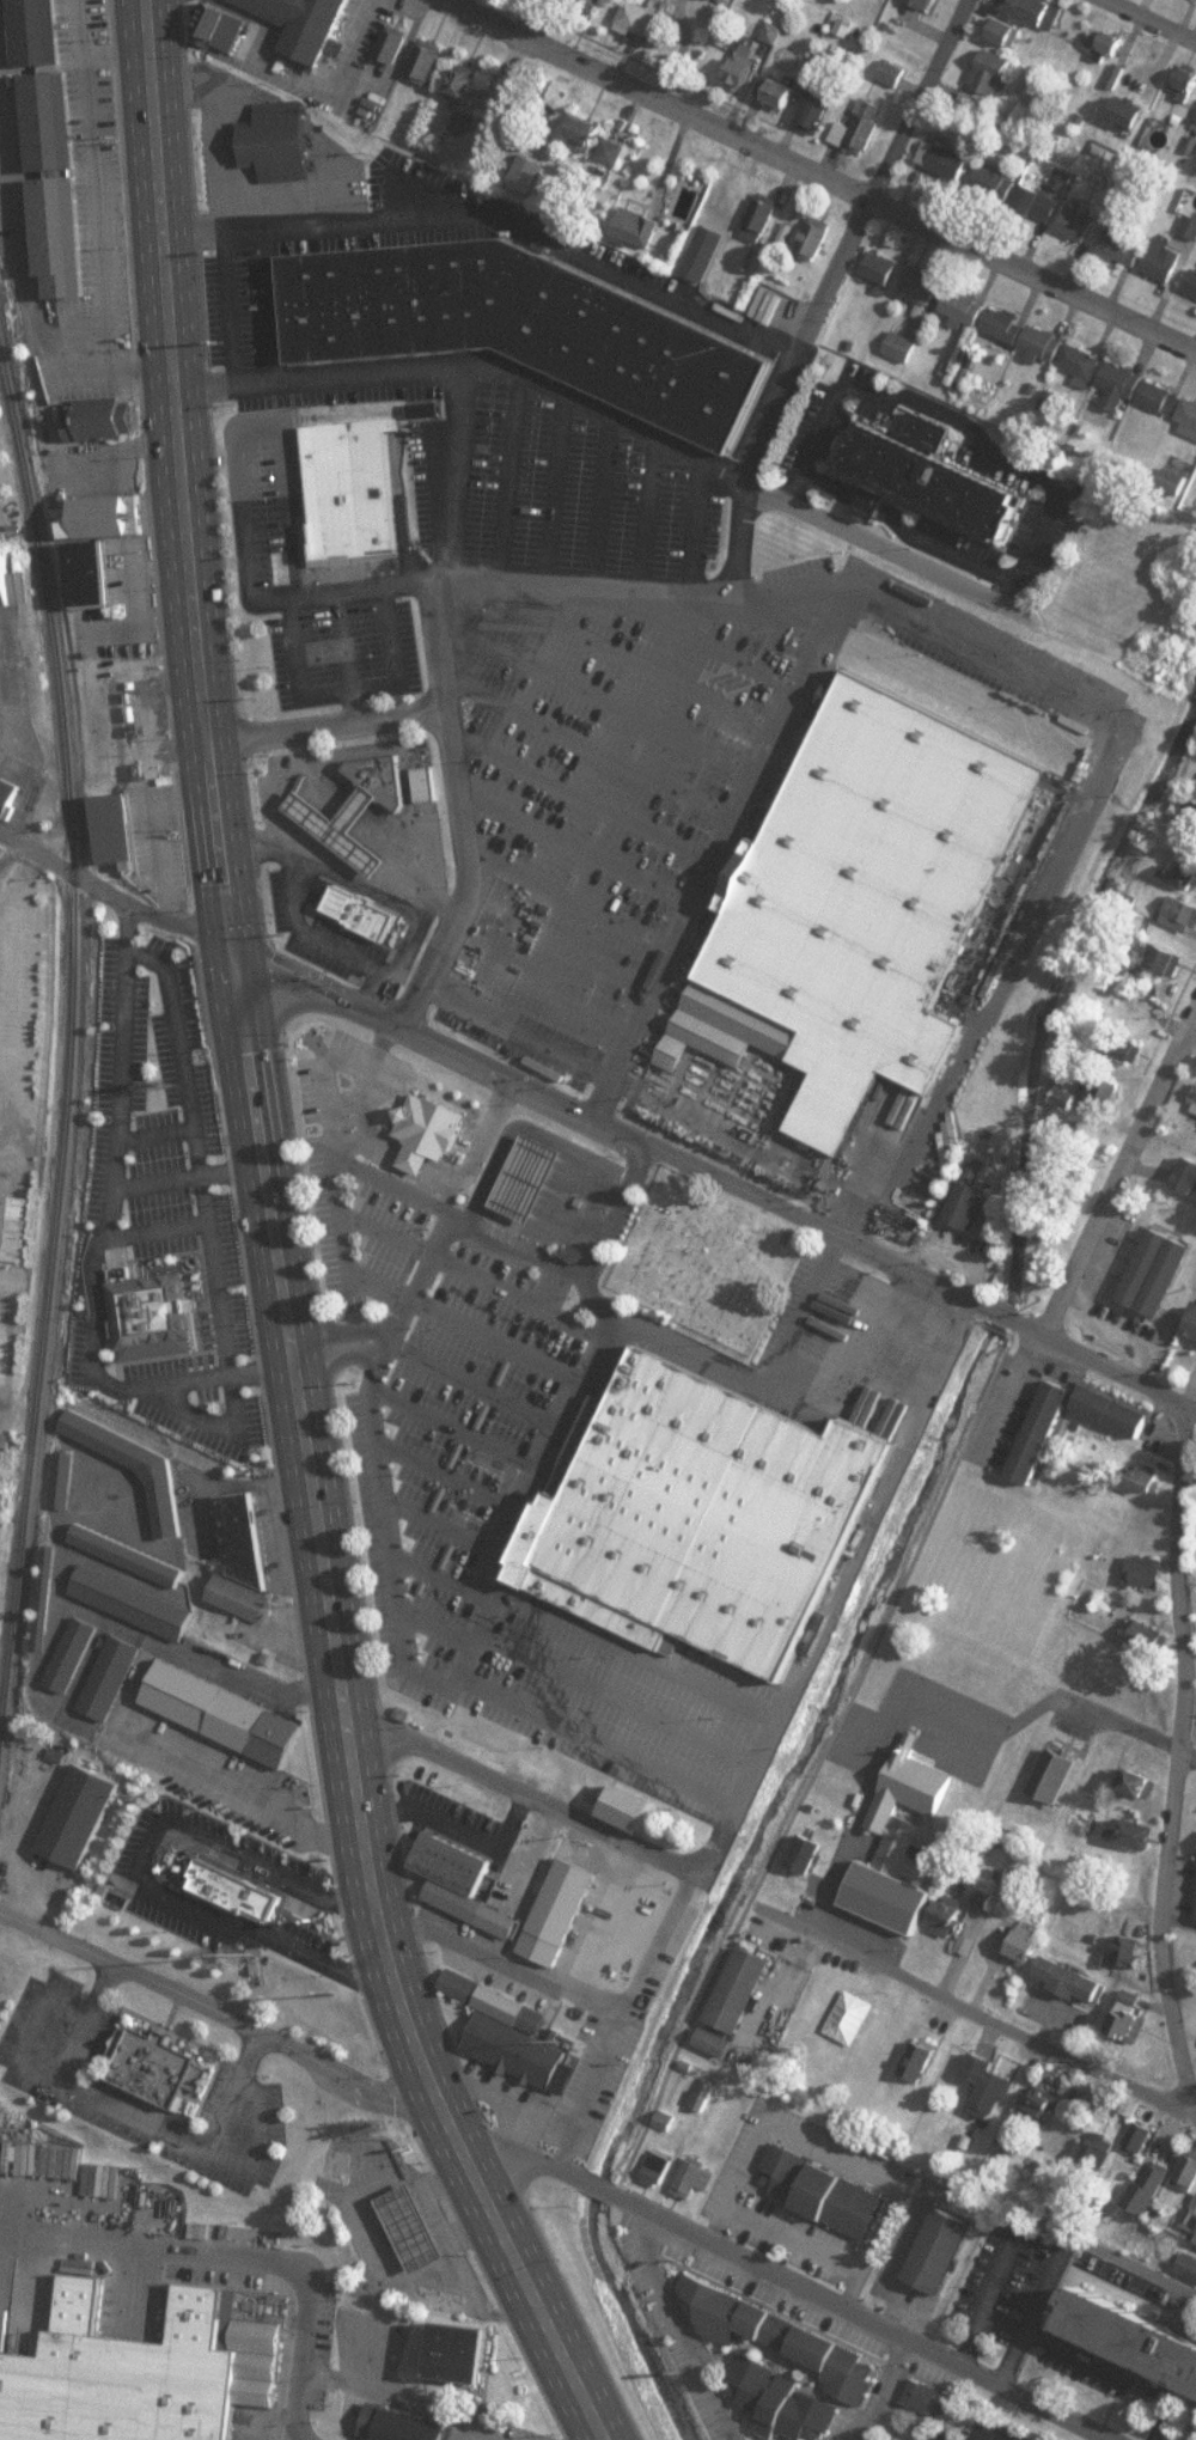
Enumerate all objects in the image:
building: (731, 1)
building: (585, 4)
building: (923, 4)
building: (1031, 8)
road: (537, 17)
building: (640, 17)
road: (1157, 18)
building: (299, 24)
building: (221, 28)
building: (1005, 31)
building: (31, 32)
building: (1112, 43)
building: (392, 45)
building: (426, 61)
building: (739, 72)
building: (893, 74)
road: (299, 81)
building: (464, 81)
building: (990, 83)
building: (1185, 83)
building: (776, 92)
building: (820, 111)
building: (1128, 114)
building: (43, 123)
building: (1195, 126)
building: (862, 128)
building: (1161, 132)
building: (584, 133)
building: (614, 152)
building: (944, 160)
road: (824, 173)
parking lot: (92, 184)
building: (996, 184)
building: (728, 199)
parking lot: (16, 200)
building: (1042, 205)
building: (761, 220)
building: (1076, 225)
building: (636, 228)
building: (54, 237)
building: (817, 237)
building: (1125, 248)
building: (1166, 260)
building: (884, 270)
parking lot: (658, 277)
road: (826, 286)
building: (1192, 286)
building: (922, 287)
building: (965, 307)
building: (512, 310)
building: (1025, 334)
building: (1082, 364)
parking lot: (337, 365)
building: (1122, 384)
building: (1158, 396)
building: (1189, 414)
road: (958, 419)
building: (99, 423)
building: (916, 459)
parking lot: (1017, 462)
road: (175, 465)
parking lot: (554, 466)
building: (348, 477)
building: (1174, 481)
building: (109, 517)
road: (903, 531)
road: (877, 548)
parking lot: (305, 555)
building: (91, 574)
road: (854, 574)
building: (6, 581)
road: (327, 725)
parking lot: (643, 762)
building: (428, 785)
building: (348, 794)
building: (8, 797)
building: (116, 829)
road: (111, 893)
building: (852, 893)
building: (350, 901)
parking lot: (310, 914)
building: (1182, 915)
traffic signals: (230, 931)
building: (1166, 962)
road: (1191, 1039)
road: (466, 1048)
railway: (69, 1050)
building: (1104, 1090)
building: (415, 1103)
building: (1194, 1108)
road: (154, 1135)
road: (197, 1149)
building: (521, 1164)
gas station: (521, 1164)
parking lot: (348, 1167)
road: (1117, 1167)
building: (1188, 1177)
road: (187, 1178)
building: (966, 1206)
building: (14, 1227)
road: (155, 1232)
road: (103, 1236)
road: (427, 1240)
park: (696, 1246)
building: (1149, 1271)
road: (942, 1274)
building: (141, 1300)
building: (1192, 1328)
road: (7, 1375)
road: (1186, 1393)
building: (1107, 1413)
road: (215, 1419)
building: (1037, 1432)
building: (135, 1466)
parking lot: (438, 1474)
building: (66, 1481)
building: (692, 1502)
parking lot: (197, 1523)
road: (315, 1526)
building: (236, 1541)
building: (1151, 1570)
building: (133, 1584)
building: (49, 1586)
building: (73, 1654)
road: (791, 1666)
road: (33, 1677)
building: (110, 1678)
building: (214, 1709)
road: (957, 1709)
road: (1090, 1712)
road: (1186, 1752)
road: (1177, 1756)
parking lot: (209, 1761)
building: (1055, 1775)
road: (515, 1776)
road: (859, 1811)
building: (83, 1816)
building: (807, 1853)
building: (902, 1858)
parking lot: (275, 1862)
road: (142, 1872)
building: (221, 1873)
building: (462, 1883)
building: (950, 1920)
road: (1178, 1927)
building: (1025, 1947)
road: (721, 1951)
building: (1131, 1951)
building: (1072, 1980)
building: (740, 1989)
road: (968, 2012)
road: (221, 2013)
building: (1128, 2017)
building: (509, 2031)
building: (716, 2041)
building: (141, 2048)
building: (920, 2060)
building: (1003, 2092)
road: (500, 2097)
road: (134, 2113)
road: (585, 2121)
building: (1141, 2137)
building: (1100, 2149)
building: (660, 2167)
building: (1188, 2173)
building: (695, 2179)
building: (1151, 2185)
building: (823, 2191)
building: (415, 2227)
road: (35, 2233)
building: (1194, 2240)
building: (941, 2250)
road: (267, 2262)
road: (779, 2271)
road: (526, 2275)
road: (989, 2294)
road: (1030, 2314)
road: (676, 2323)
building: (781, 2336)
building: (444, 2338)
building: (1131, 2340)
road: (1074, 2356)
building: (139, 2359)
road: (885, 2398)
building: (781, 2402)
building: (392, 2417)
parking lot: (925, 2430)
parking lot: (303, 2438)

